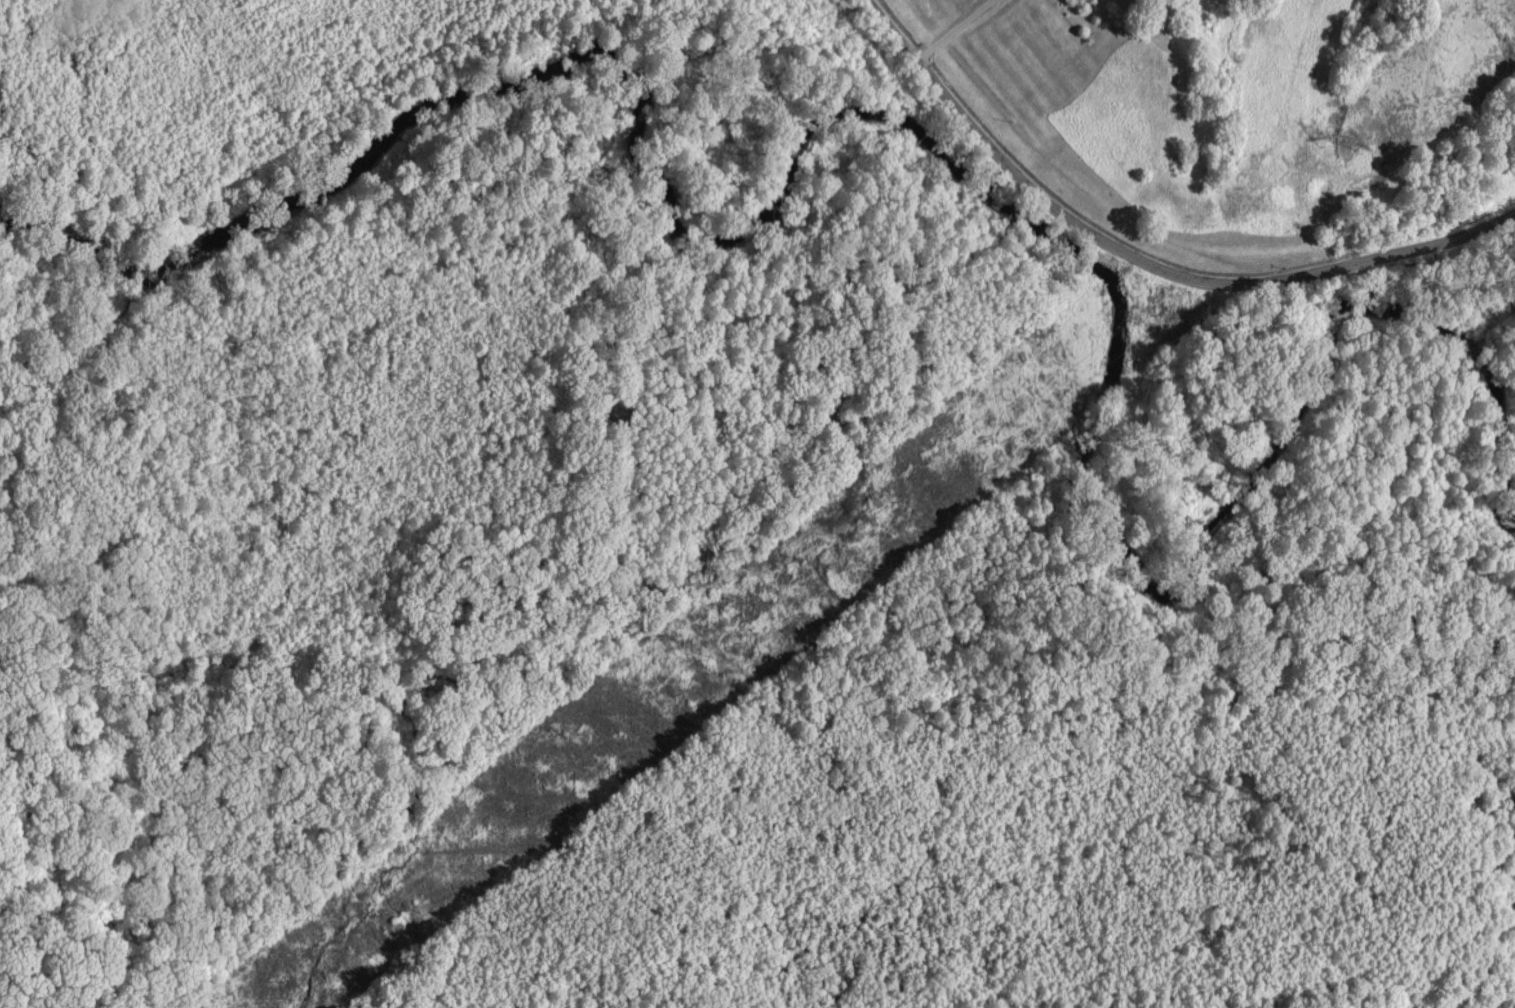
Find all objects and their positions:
power tower: (1352, 139)
road: (1146, 262)
power tower: (713, 649)

